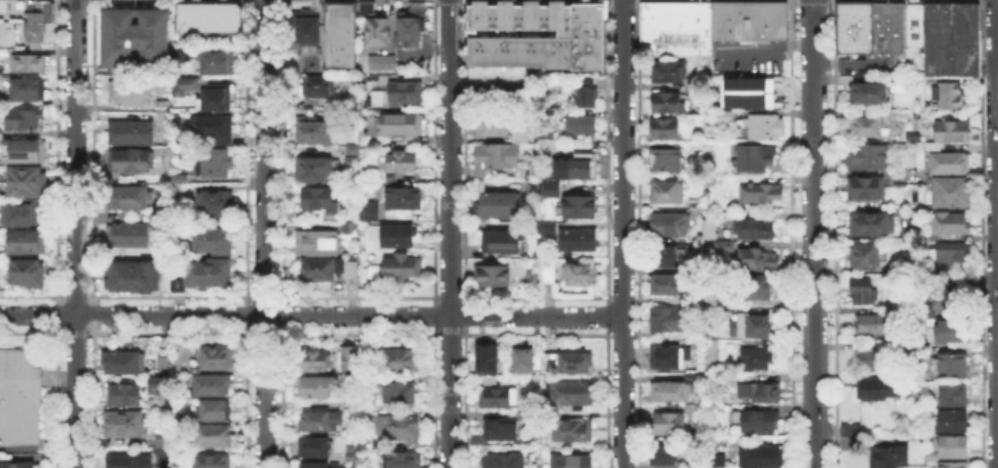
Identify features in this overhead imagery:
building: (365, 8)
building: (182, 9)
building: (208, 9)
building: (231, 9)
building: (727, 9)
building: (757, 9)
building: (46, 10)
building: (775, 10)
building: (492, 14)
building: (529, 14)
building: (554, 14)
building: (587, 14)
building: (842, 14)
building: (862, 14)
building: (412, 19)
building: (198, 20)
building: (183, 21)
building: (217, 21)
building: (32, 23)
building: (232, 24)
building: (305, 25)
road: (390, 25)
road: (995, 26)
building: (648, 27)
building: (672, 27)
building: (698, 27)
building: (747, 27)
building: (877, 27)
building: (375, 28)
building: (893, 30)
building: (912, 31)
building: (404, 32)
building: (339, 33)
building: (133, 34)
building: (852, 36)
building: (949, 38)
building: (316, 49)
road: (406, 50)
road: (765, 51)
building: (532, 52)
road: (996, 53)
building: (177, 54)
building: (26, 61)
road: (849, 61)
building: (379, 62)
building: (217, 64)
building: (667, 70)
building: (190, 85)
building: (316, 85)
road: (488, 85)
building: (32, 91)
building: (581, 91)
building: (758, 92)
building: (131, 93)
building: (406, 94)
building: (868, 95)
building: (949, 96)
building: (219, 99)
building: (379, 100)
building: (665, 101)
building: (165, 112)
building: (727, 118)
building: (25, 121)
building: (578, 123)
building: (400, 125)
building: (493, 126)
building: (764, 128)
building: (864, 128)
building: (213, 130)
building: (665, 130)
building: (314, 132)
building: (953, 132)
building: (517, 133)
building: (546, 133)
building: (132, 134)
building: (933, 146)
building: (25, 153)
building: (493, 155)
building: (755, 158)
building: (870, 159)
building: (132, 162)
building: (214, 162)
building: (403, 162)
building: (666, 162)
building: (950, 164)
building: (575, 165)
building: (314, 170)
building: (531, 170)
building: (179, 176)
building: (26, 182)
building: (532, 186)
building: (548, 187)
building: (863, 189)
building: (179, 190)
building: (667, 193)
building: (762, 193)
building: (952, 195)
building: (130, 198)
building: (405, 199)
building: (320, 200)
building: (214, 205)
building: (497, 206)
building: (367, 209)
building: (580, 209)
building: (21, 216)
building: (382, 217)
building: (670, 225)
building: (874, 225)
building: (952, 225)
building: (706, 228)
building: (351, 230)
building: (550, 230)
building: (754, 231)
road: (72, 233)
road: (813, 233)
road: (260, 234)
road: (449, 234)
road: (623, 234)
building: (129, 236)
building: (399, 237)
building: (212, 241)
building: (579, 242)
building: (29, 243)
building: (318, 243)
building: (502, 243)
building: (723, 245)
building: (954, 254)
building: (867, 256)
building: (672, 257)
building: (760, 260)
road: (995, 260)
building: (400, 267)
building: (898, 268)
building: (320, 271)
building: (358, 272)
building: (208, 273)
building: (946, 273)
building: (548, 274)
building: (29, 275)
building: (583, 275)
building: (134, 278)
building: (491, 278)
building: (670, 286)
building: (754, 288)
building: (865, 291)
building: (949, 302)
road: (311, 314)
building: (670, 320)
building: (750, 326)
building: (877, 327)
building: (951, 333)
building: (192, 356)
building: (402, 357)
building: (671, 358)
building: (216, 359)
building: (489, 359)
building: (876, 359)
building: (755, 360)
building: (316, 362)
building: (126, 363)
building: (525, 363)
building: (574, 363)
building: (164, 365)
building: (351, 366)
building: (951, 367)
building: (155, 384)
building: (212, 386)
building: (316, 388)
building: (676, 389)
building: (882, 390)
building: (400, 394)
building: (766, 394)
building: (572, 395)
building: (954, 395)
building: (18, 396)
building: (124, 397)
building: (499, 399)
building: (351, 406)
building: (214, 411)
building: (368, 419)
building: (954, 421)
building: (314, 422)
building: (761, 423)
building: (124, 425)
building: (668, 425)
building: (399, 428)
building: (501, 431)
building: (573, 431)
building: (851, 432)
building: (215, 436)
building: (162, 440)
building: (953, 447)
building: (316, 449)
building: (351, 455)
building: (664, 456)
building: (886, 456)
building: (763, 457)
building: (130, 461)
building: (213, 461)
building: (405, 461)
building: (505, 461)
building: (573, 462)
building: (19, 465)
building: (954, 466)
building: (321, 467)
building: (691, 467)

